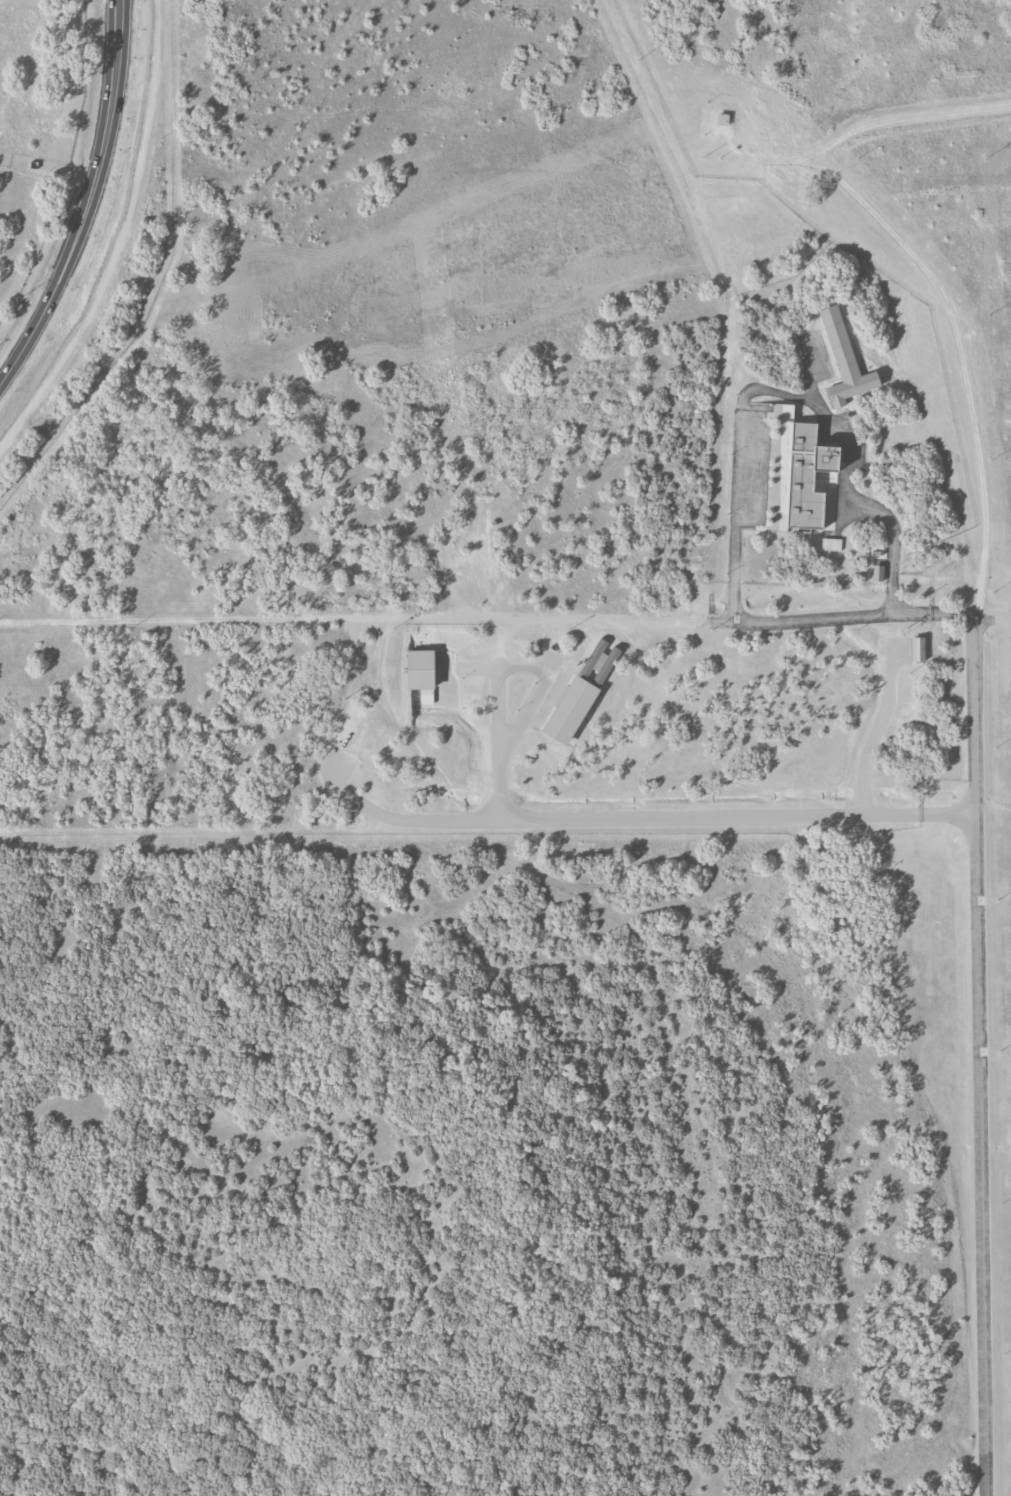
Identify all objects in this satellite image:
building: (721, 119)
road: (88, 200)
building: (844, 360)
building: (783, 461)
road: (739, 463)
building: (831, 544)
building: (877, 573)
road: (597, 619)
building: (916, 649)
building: (600, 661)
building: (420, 669)
road: (537, 689)
building: (570, 709)
road: (499, 742)
road: (640, 818)
road: (978, 1055)

